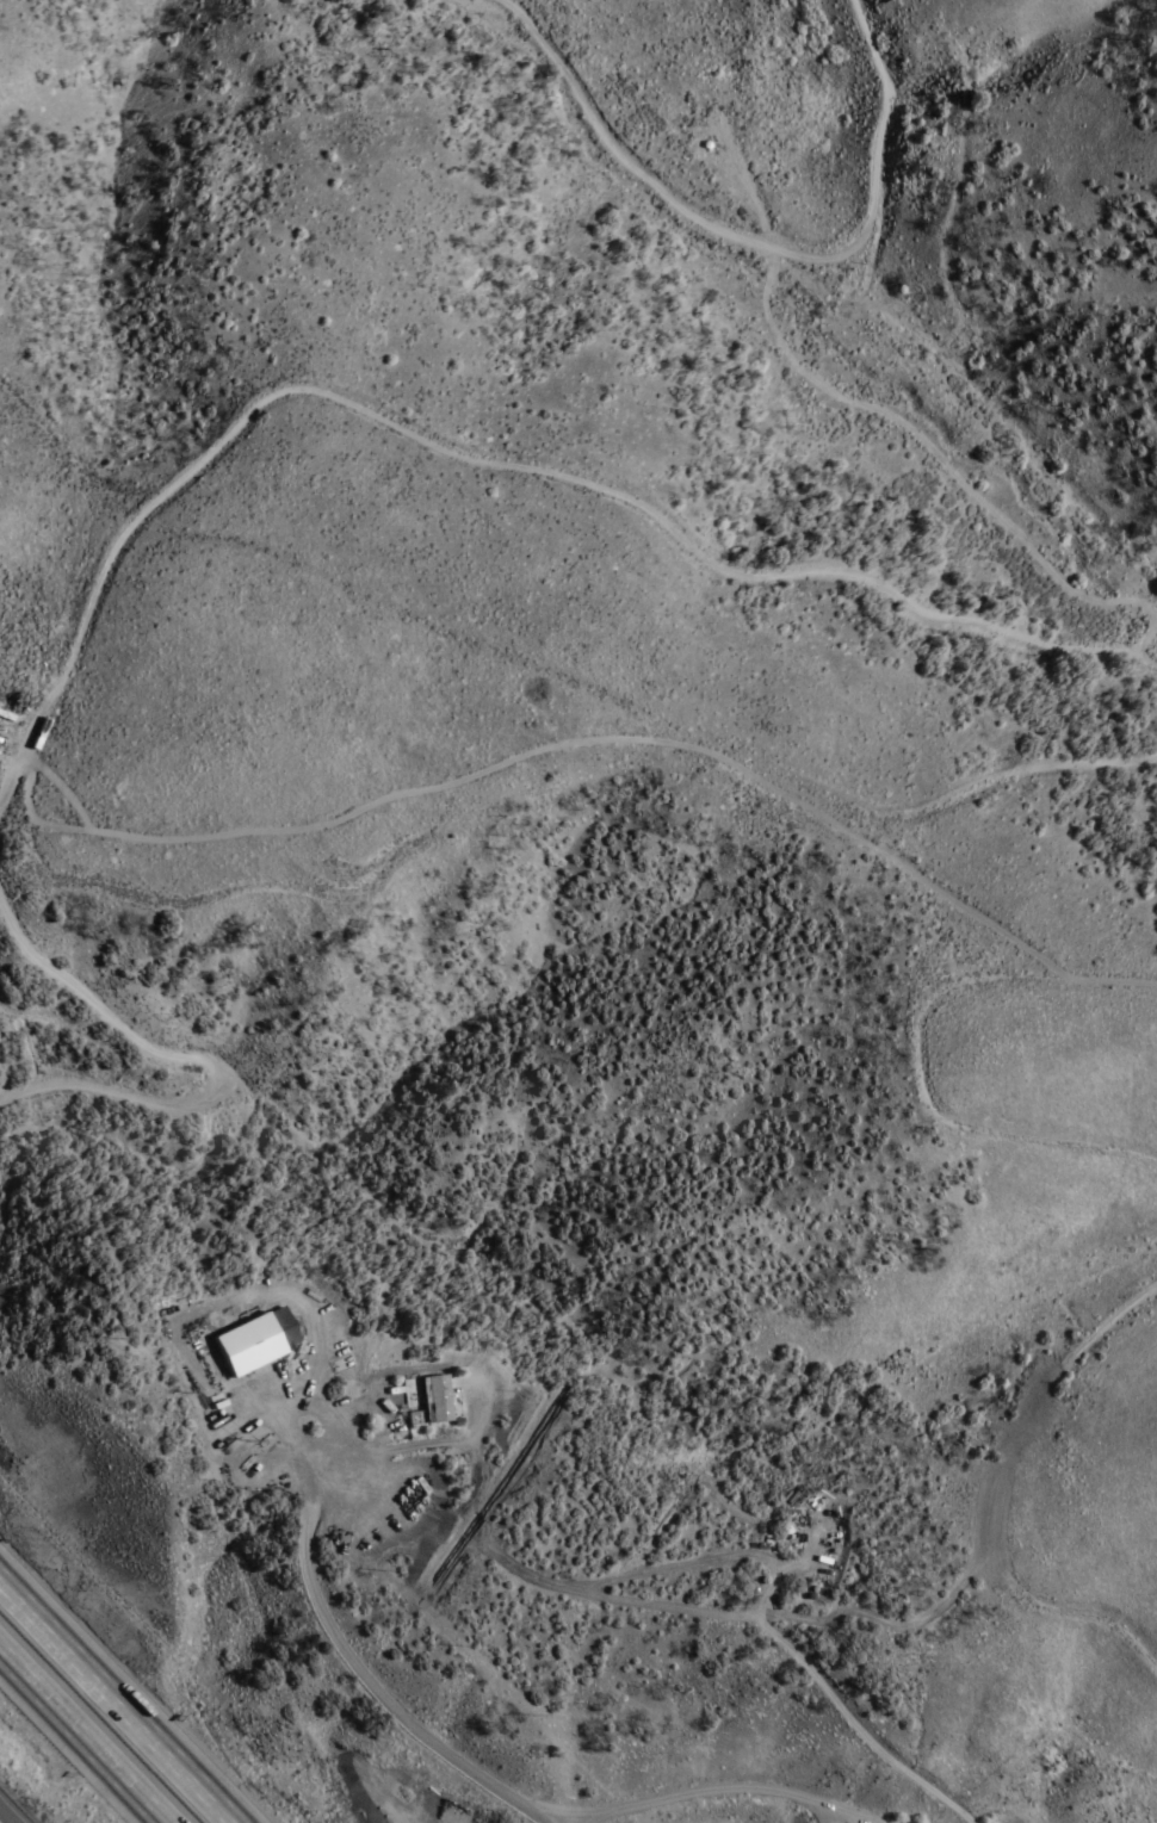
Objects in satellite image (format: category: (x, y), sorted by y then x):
road: (754, 250)
road: (743, 579)
road: (199, 1065)
building: (264, 1344)
building: (447, 1400)
road: (378, 1691)
road: (117, 1700)
road: (82, 1736)
road: (712, 1796)
road: (854, 1812)
road: (7, 1815)

